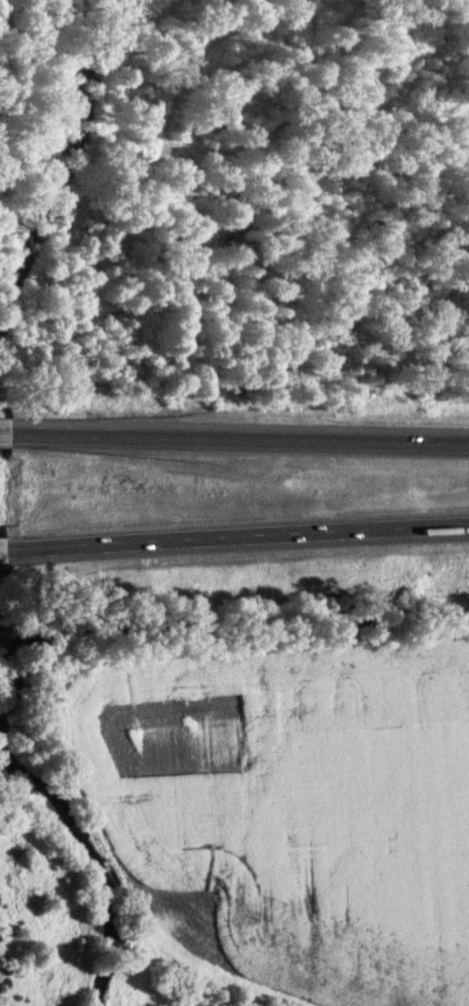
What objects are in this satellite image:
road: (234, 439)
road: (234, 537)

